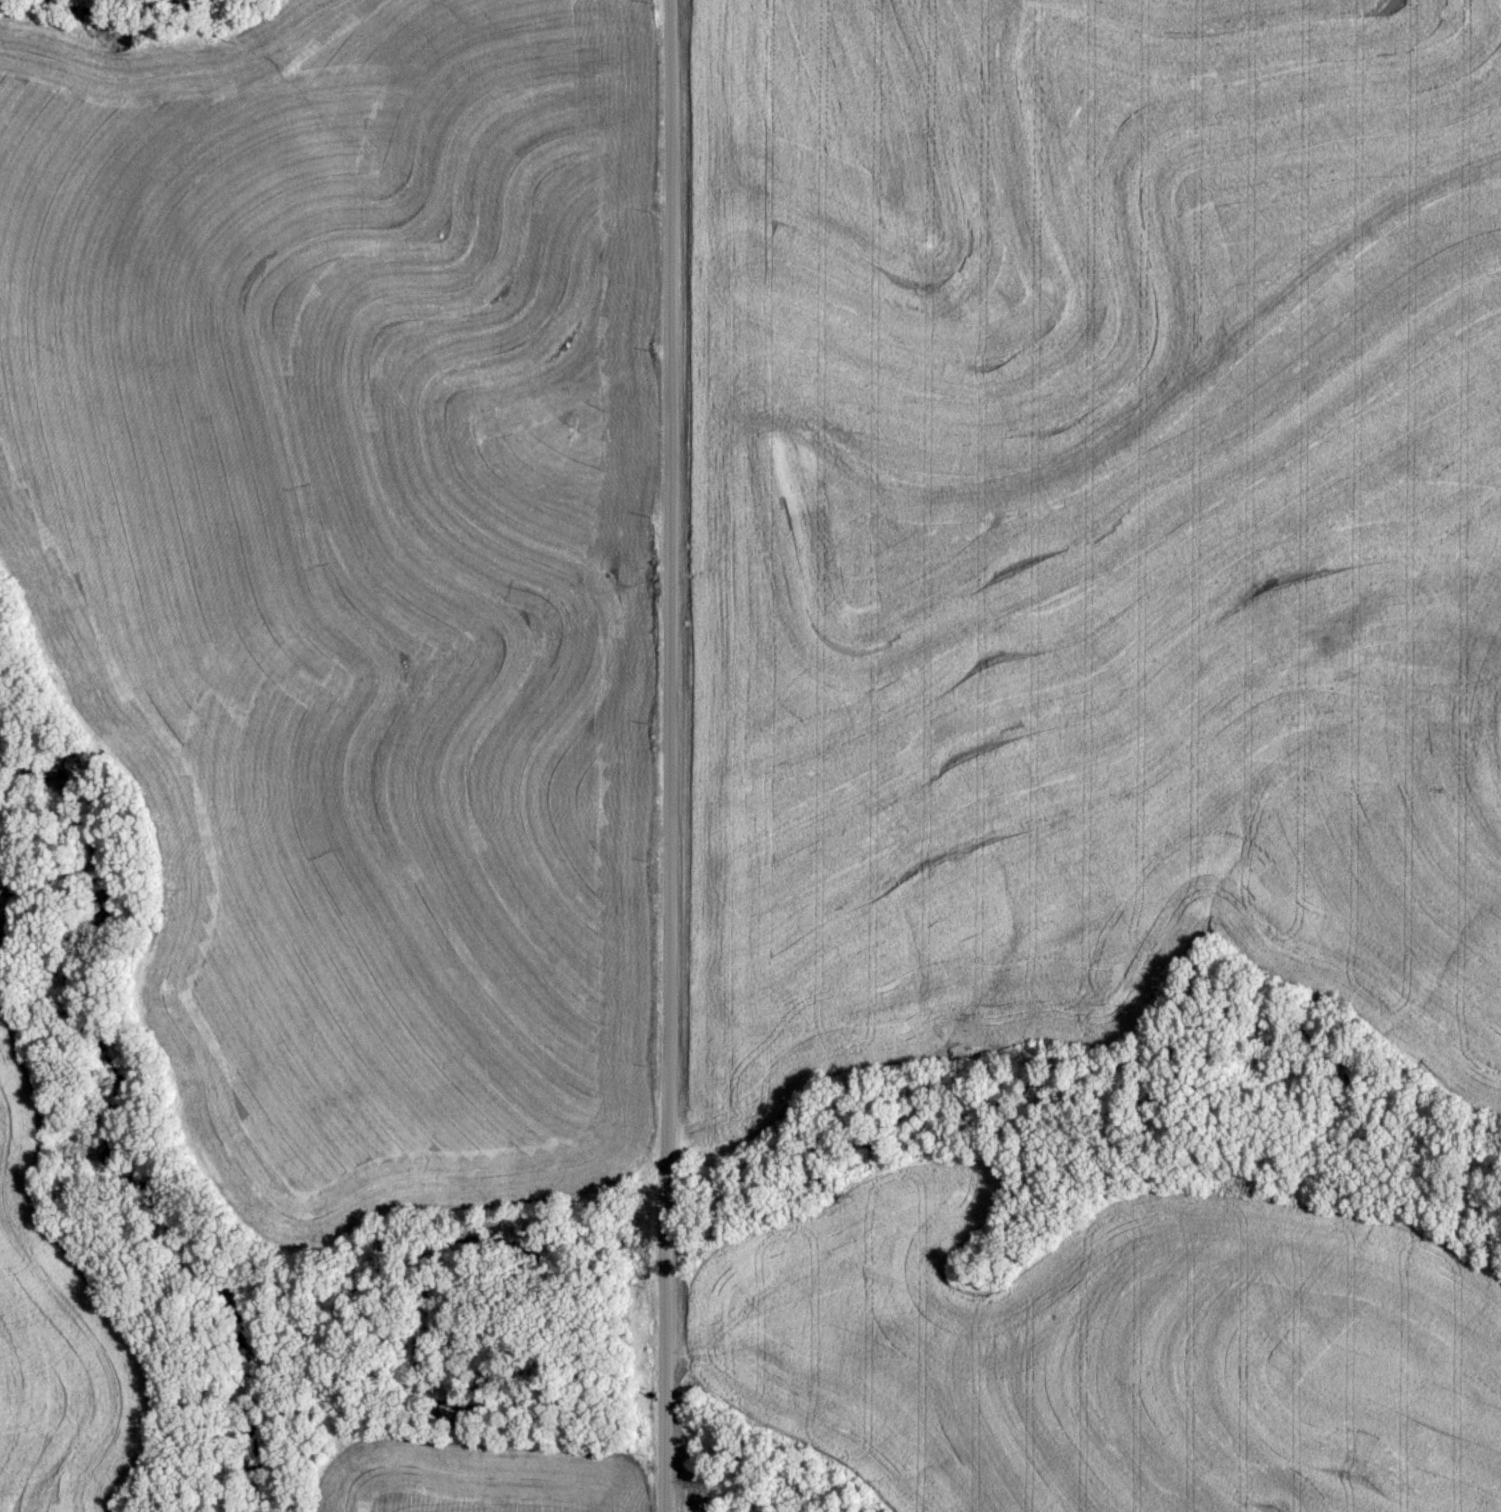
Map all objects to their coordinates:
road: (672, 756)

